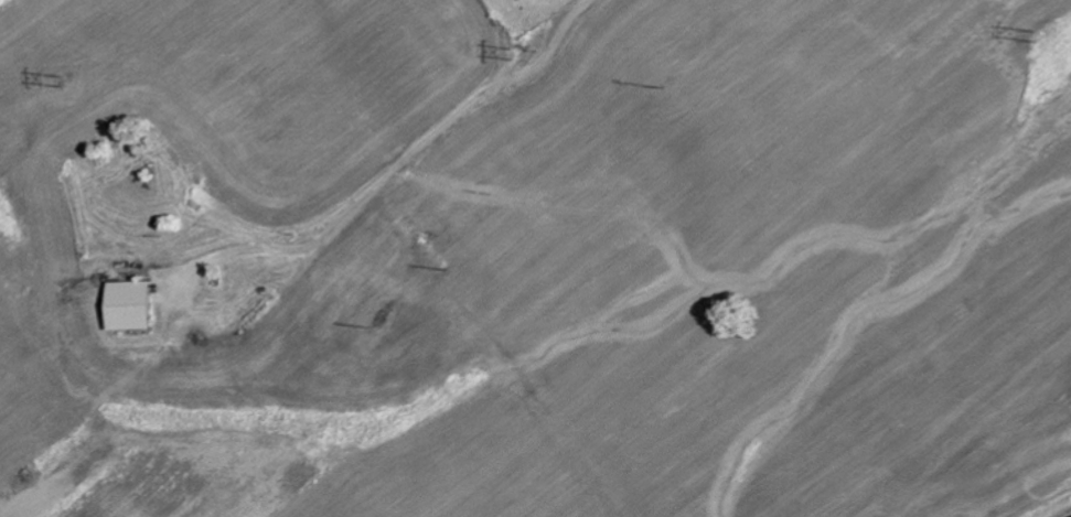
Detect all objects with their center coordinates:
power tower: (1035, 46)
power tower: (513, 53)
power tower: (60, 82)
road: (393, 170)
building: (130, 304)

